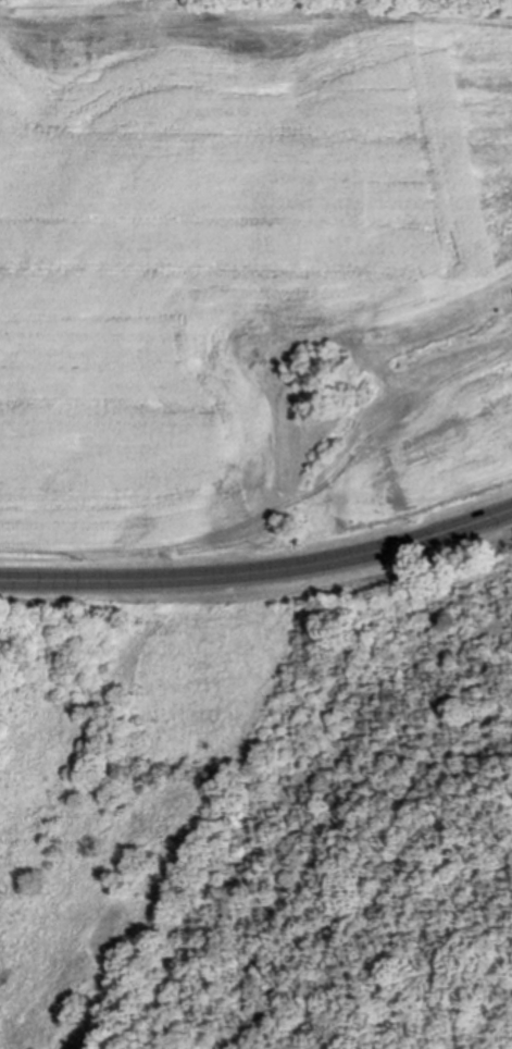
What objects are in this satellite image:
road: (260, 568)

